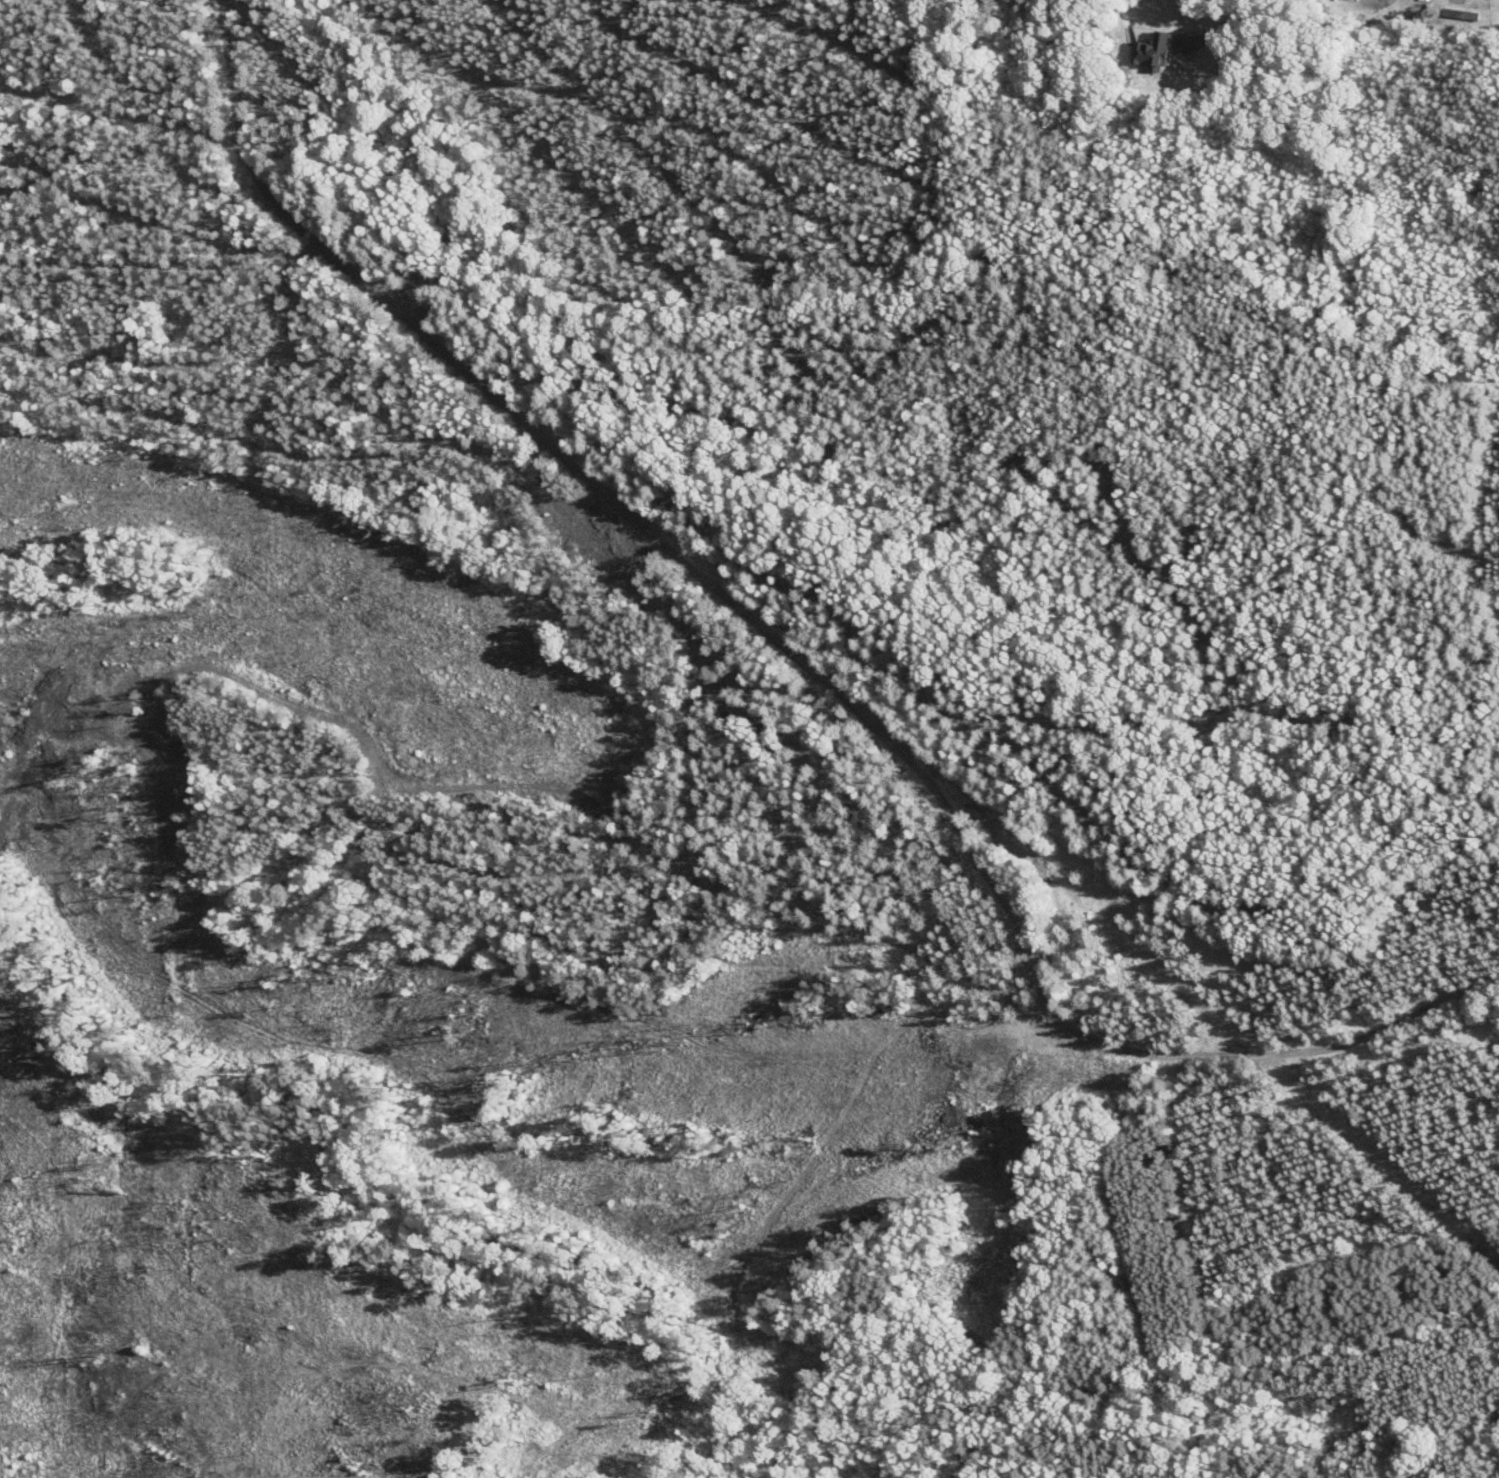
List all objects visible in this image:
building: (1459, 13)
road: (1220, 23)
building: (1150, 51)

